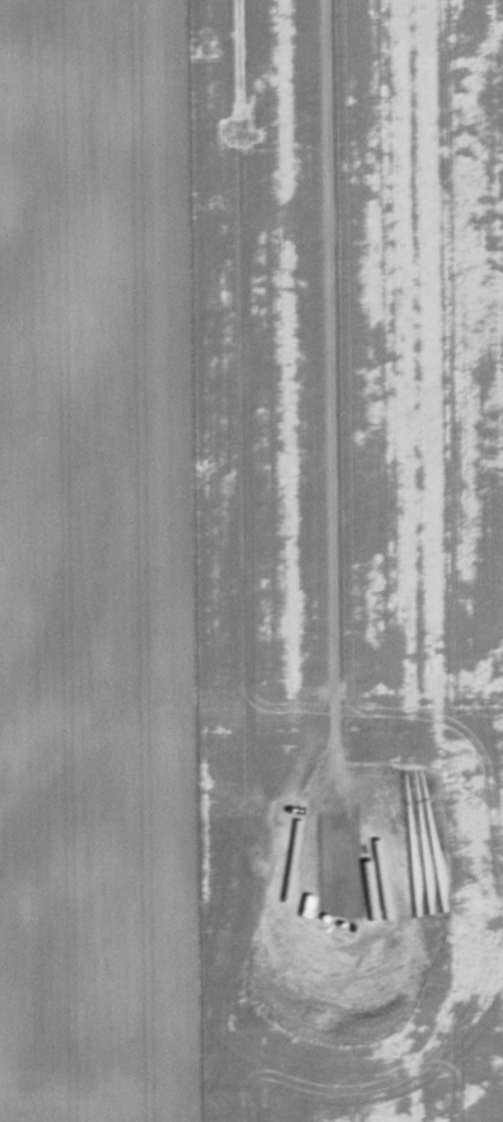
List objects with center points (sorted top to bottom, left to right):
wind turbine: (355, 899)

